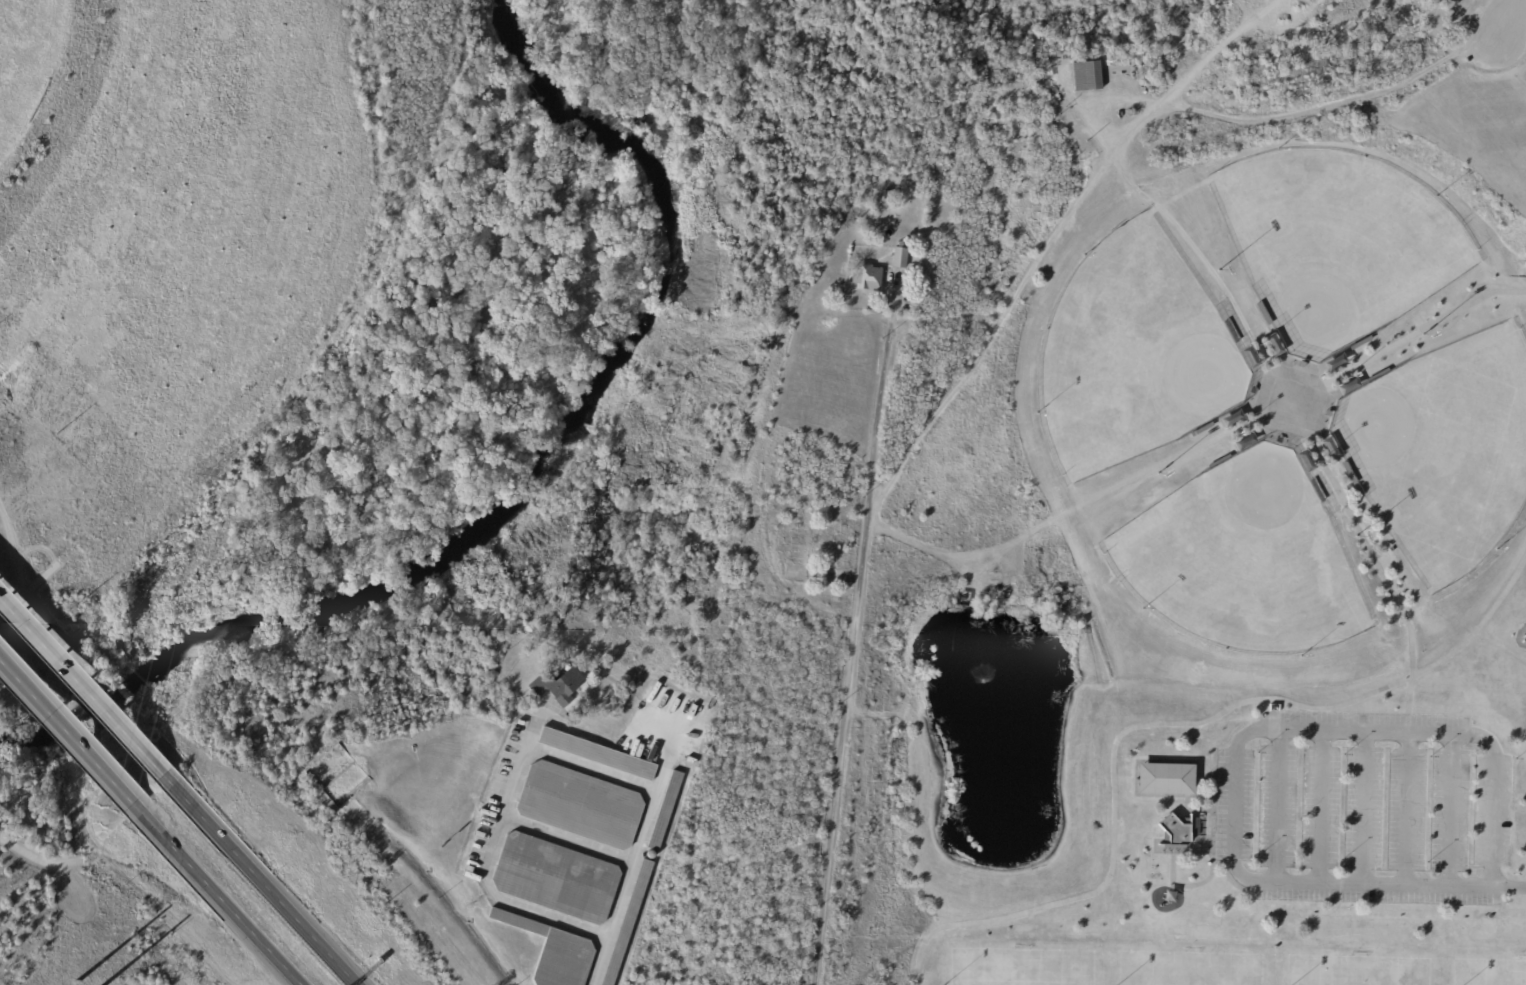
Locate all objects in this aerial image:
road: (1503, 24)
building: (1089, 78)
road: (1278, 117)
road: (1051, 240)
park: (1338, 245)
building: (901, 260)
building: (869, 280)
building: (1266, 314)
road: (1422, 331)
building: (1234, 332)
building: (1363, 343)
park: (1134, 354)
building: (1304, 365)
building: (1381, 376)
road: (881, 385)
building: (1255, 392)
building: (1331, 414)
building: (1204, 430)
building: (1282, 441)
park: (1443, 451)
building: (1222, 462)
building: (1352, 474)
power tower: (202, 487)
building: (1320, 492)
river: (538, 495)
park: (1113, 498)
road: (1361, 536)
park: (1243, 559)
building: (996, 582)
road: (81, 688)
building: (559, 688)
road: (1161, 725)
road: (66, 733)
road: (1479, 737)
road: (841, 738)
road: (1245, 738)
building: (597, 754)
building: (1169, 781)
parking lot: (1364, 808)
road: (1278, 809)
road: (1322, 810)
road: (1364, 810)
road: (1407, 811)
building: (666, 813)
road: (500, 815)
road: (1492, 820)
building: (1176, 833)
road: (567, 840)
road: (39, 860)
road: (634, 861)
road: (117, 868)
building: (557, 879)
road: (259, 880)
road: (1471, 888)
road: (1509, 889)
park: (60, 891)
road: (216, 895)
building: (630, 923)
building: (555, 952)
park: (1020, 975)
park: (1185, 977)
road: (284, 980)
park: (1352, 980)
park: (1488, 981)

